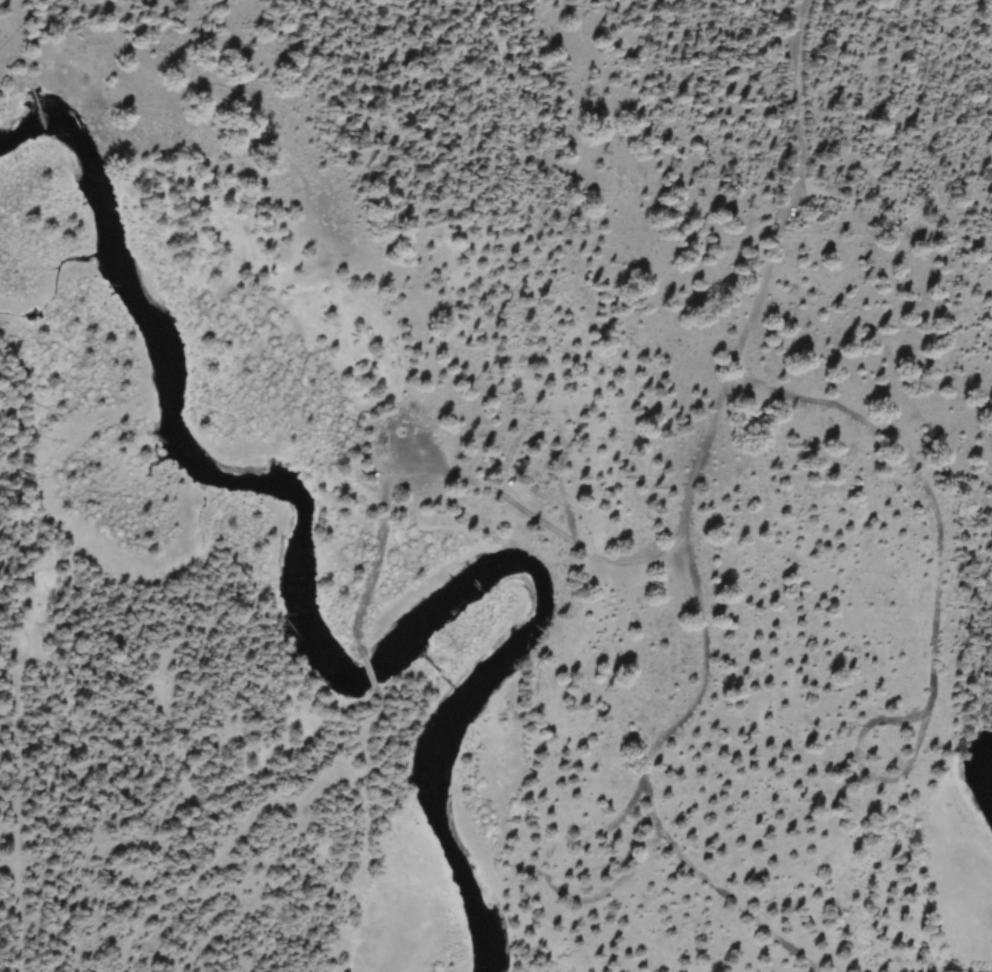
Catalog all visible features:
road: (716, 319)
river: (295, 638)

